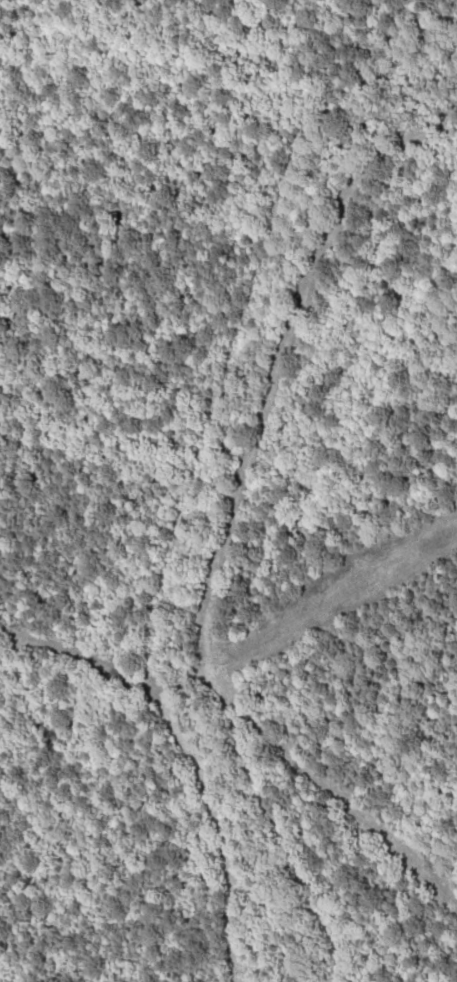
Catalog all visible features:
road: (227, 684)

